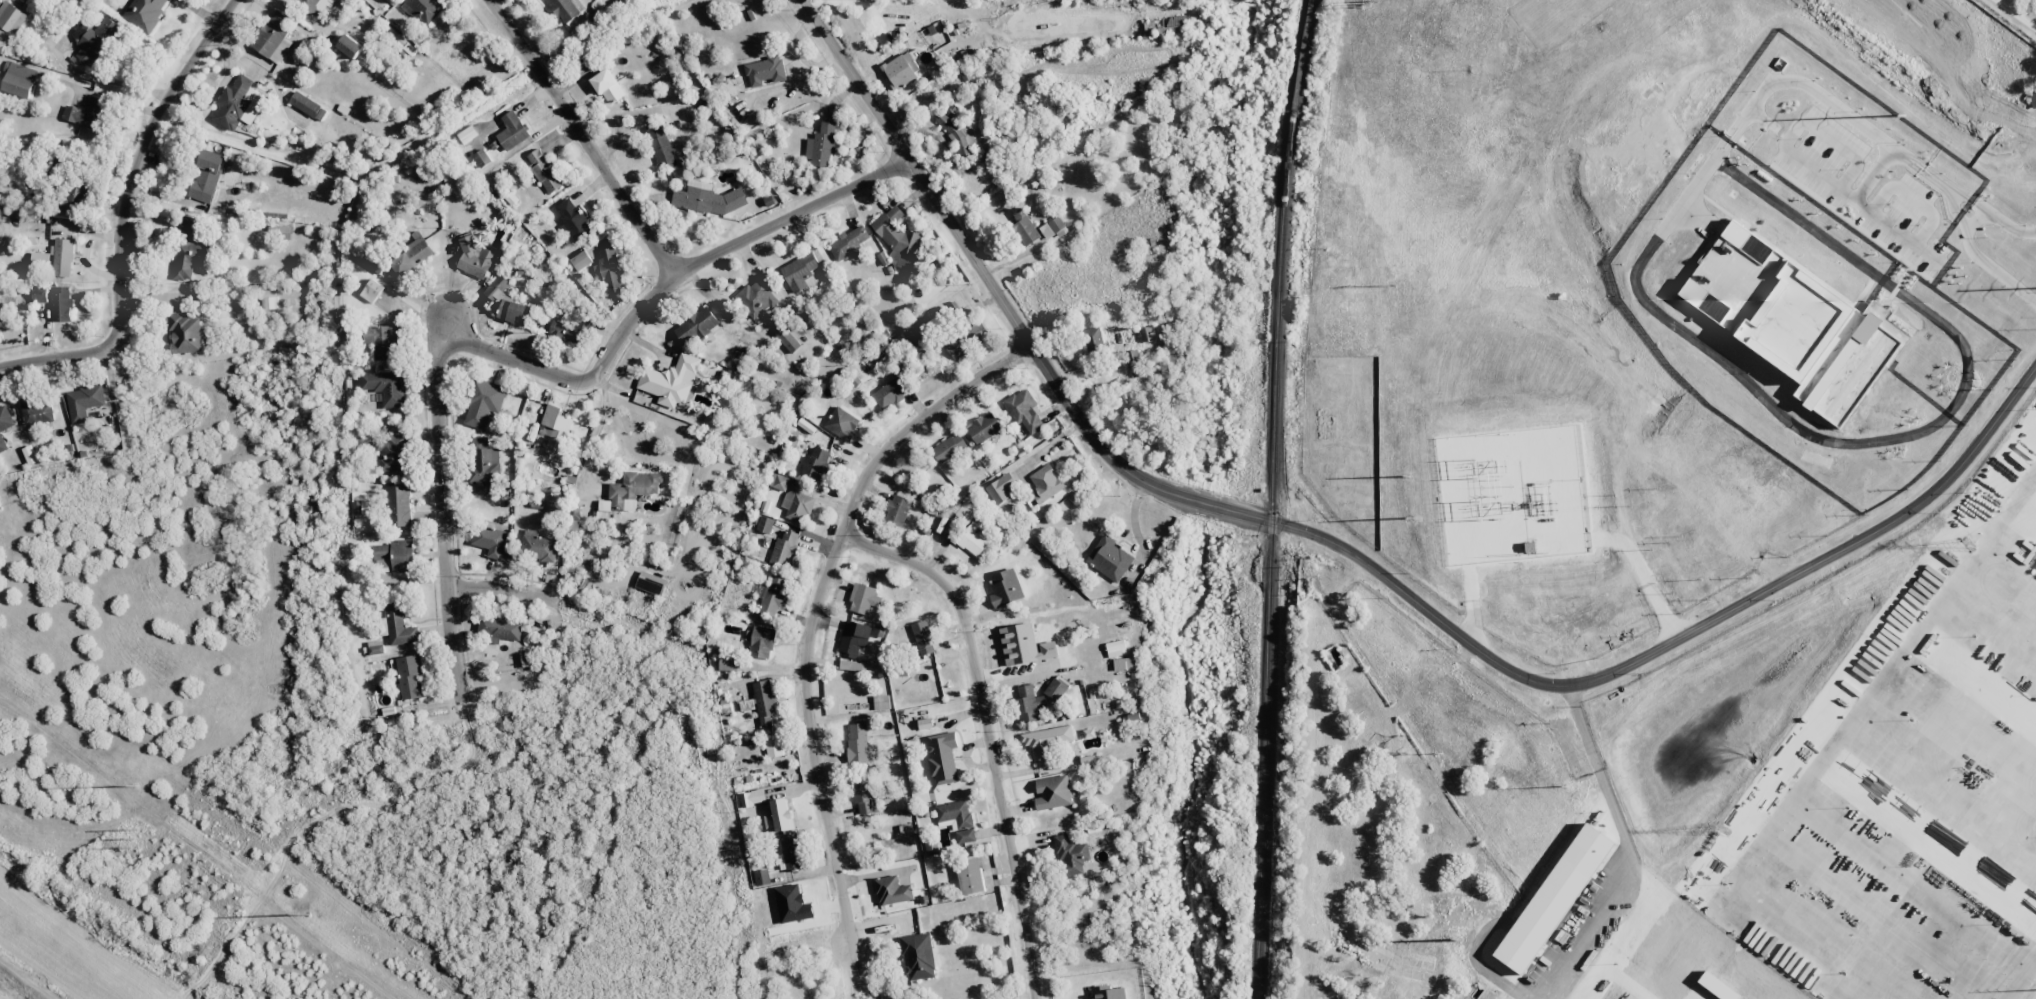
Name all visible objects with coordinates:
power tower: (1362, 0)
building: (309, 4)
building: (424, 9)
building: (564, 9)
building: (145, 13)
building: (10, 20)
building: (274, 37)
building: (98, 41)
building: (350, 46)
building: (901, 70)
building: (764, 71)
building: (19, 80)
road: (1946, 83)
building: (608, 86)
building: (2033, 99)
building: (237, 104)
building: (308, 106)
building: (87, 113)
power tower: (1902, 115)
building: (512, 130)
building: (957, 130)
building: (467, 133)
road: (581, 134)
building: (822, 143)
building: (661, 146)
building: (481, 158)
road: (135, 161)
building: (544, 170)
building: (207, 175)
building: (2025, 180)
building: (708, 198)
building: (573, 219)
building: (1025, 227)
building: (1054, 228)
building: (897, 238)
building: (848, 243)
road: (725, 244)
building: (191, 249)
building: (411, 256)
building: (63, 257)
building: (474, 259)
building: (42, 260)
building: (609, 269)
building: (799, 272)
building: (382, 274)
power tower: (1387, 283)
building: (497, 288)
building: (372, 290)
building: (757, 297)
building: (1767, 301)
building: (269, 303)
building: (61, 304)
building: (514, 312)
building: (696, 326)
building: (570, 330)
building: (185, 332)
building: (787, 339)
building: (967, 339)
building: (1093, 339)
building: (383, 340)
road: (54, 355)
building: (1857, 365)
building: (671, 381)
building: (386, 388)
building: (889, 393)
building: (84, 402)
building: (484, 402)
building: (37, 409)
building: (1024, 410)
road: (916, 420)
building: (842, 423)
building: (5, 425)
building: (984, 428)
building: (556, 429)
building: (949, 448)
building: (392, 453)
road: (443, 454)
building: (815, 463)
building: (484, 466)
building: (779, 482)
building: (1045, 483)
building: (1002, 488)
building: (631, 489)
power substation: (1513, 494)
railway: (1270, 498)
building: (399, 505)
building: (797, 505)
building: (357, 507)
building: (897, 510)
building: (966, 512)
building: (574, 518)
power tower: (1414, 519)
building: (765, 524)
building: (972, 539)
building: (490, 541)
power tower: (1970, 545)
building: (539, 546)
building: (784, 549)
building: (395, 555)
road: (1360, 557)
building: (1109, 558)
building: (651, 583)
road: (485, 585)
building: (1005, 588)
building: (773, 595)
building: (864, 598)
building: (398, 625)
building: (500, 629)
building: (853, 637)
building: (923, 637)
building: (760, 641)
building: (728, 663)
building: (1124, 663)
building: (410, 677)
building: (1038, 700)
building: (764, 702)
building: (881, 702)
road: (987, 732)
building: (858, 741)
building: (1046, 741)
power tower: (1437, 745)
building: (774, 747)
road: (811, 747)
building: (942, 757)
power tower: (134, 785)
power tower: (1567, 786)
building: (1053, 792)
building: (864, 796)
building: (782, 815)
building: (957, 819)
power tower: (1724, 830)
power tower: (131, 838)
building: (931, 846)
building: (792, 852)
building: (1071, 854)
building: (970, 876)
building: (762, 877)
building: (892, 890)
power tower: (307, 912)
power tower: (1461, 940)
building: (918, 956)
building: (1108, 992)

